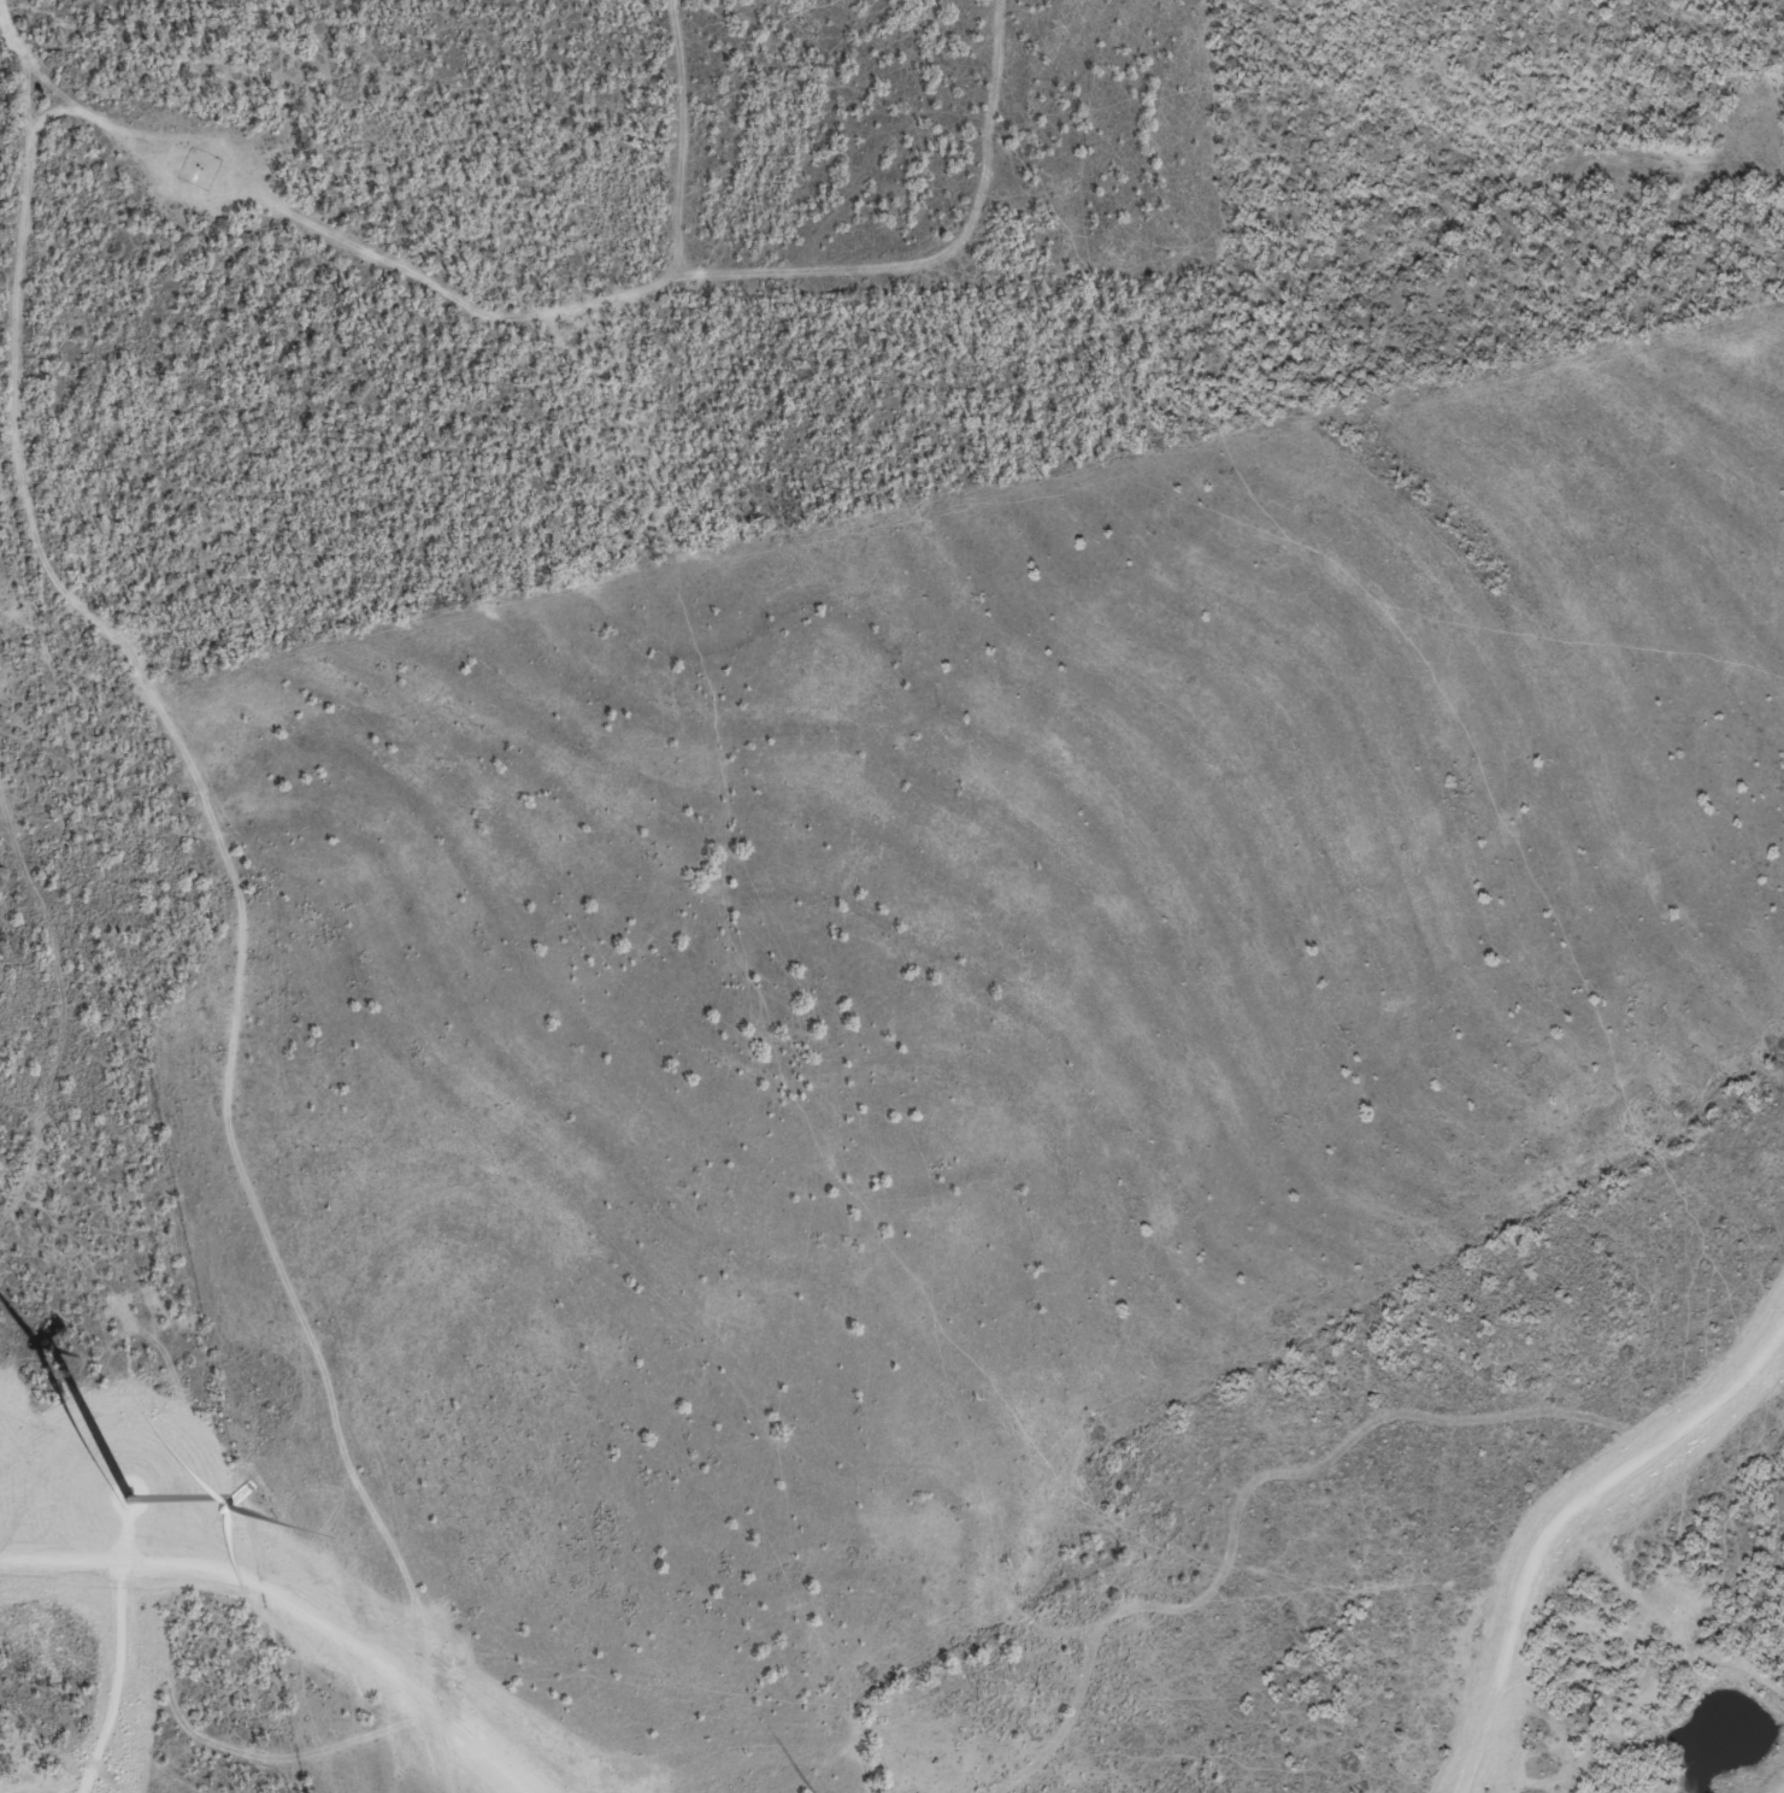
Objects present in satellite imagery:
road: (1682, 1424)
wind turbine: (131, 1503)
road: (295, 1604)
road: (1506, 1647)
road: (120, 1680)

